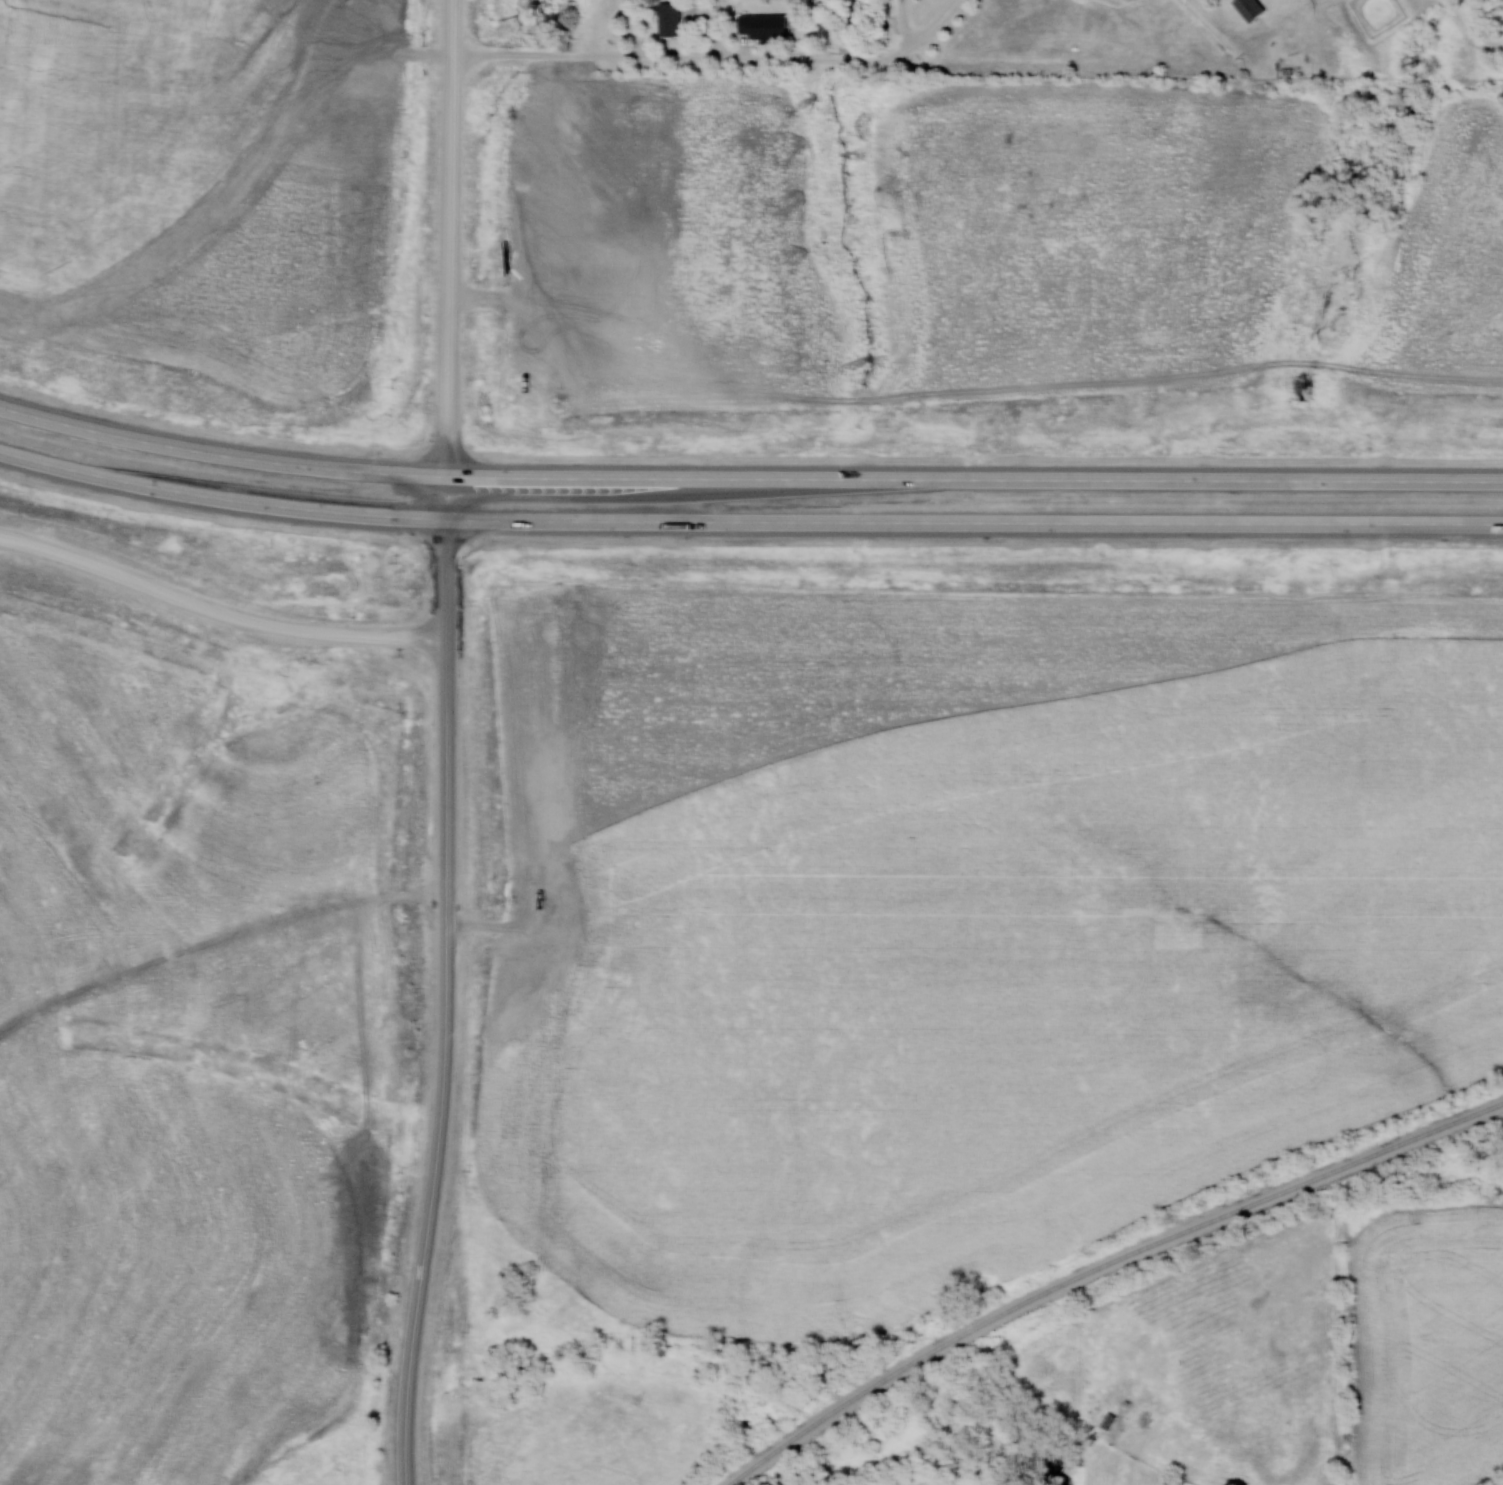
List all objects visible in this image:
building: (1247, 9)
road: (413, 19)
building: (667, 19)
building: (761, 26)
road: (691, 58)
crop: (148, 134)
road: (1070, 374)
road: (317, 425)
railway: (1101, 1266)
road: (423, 1301)

